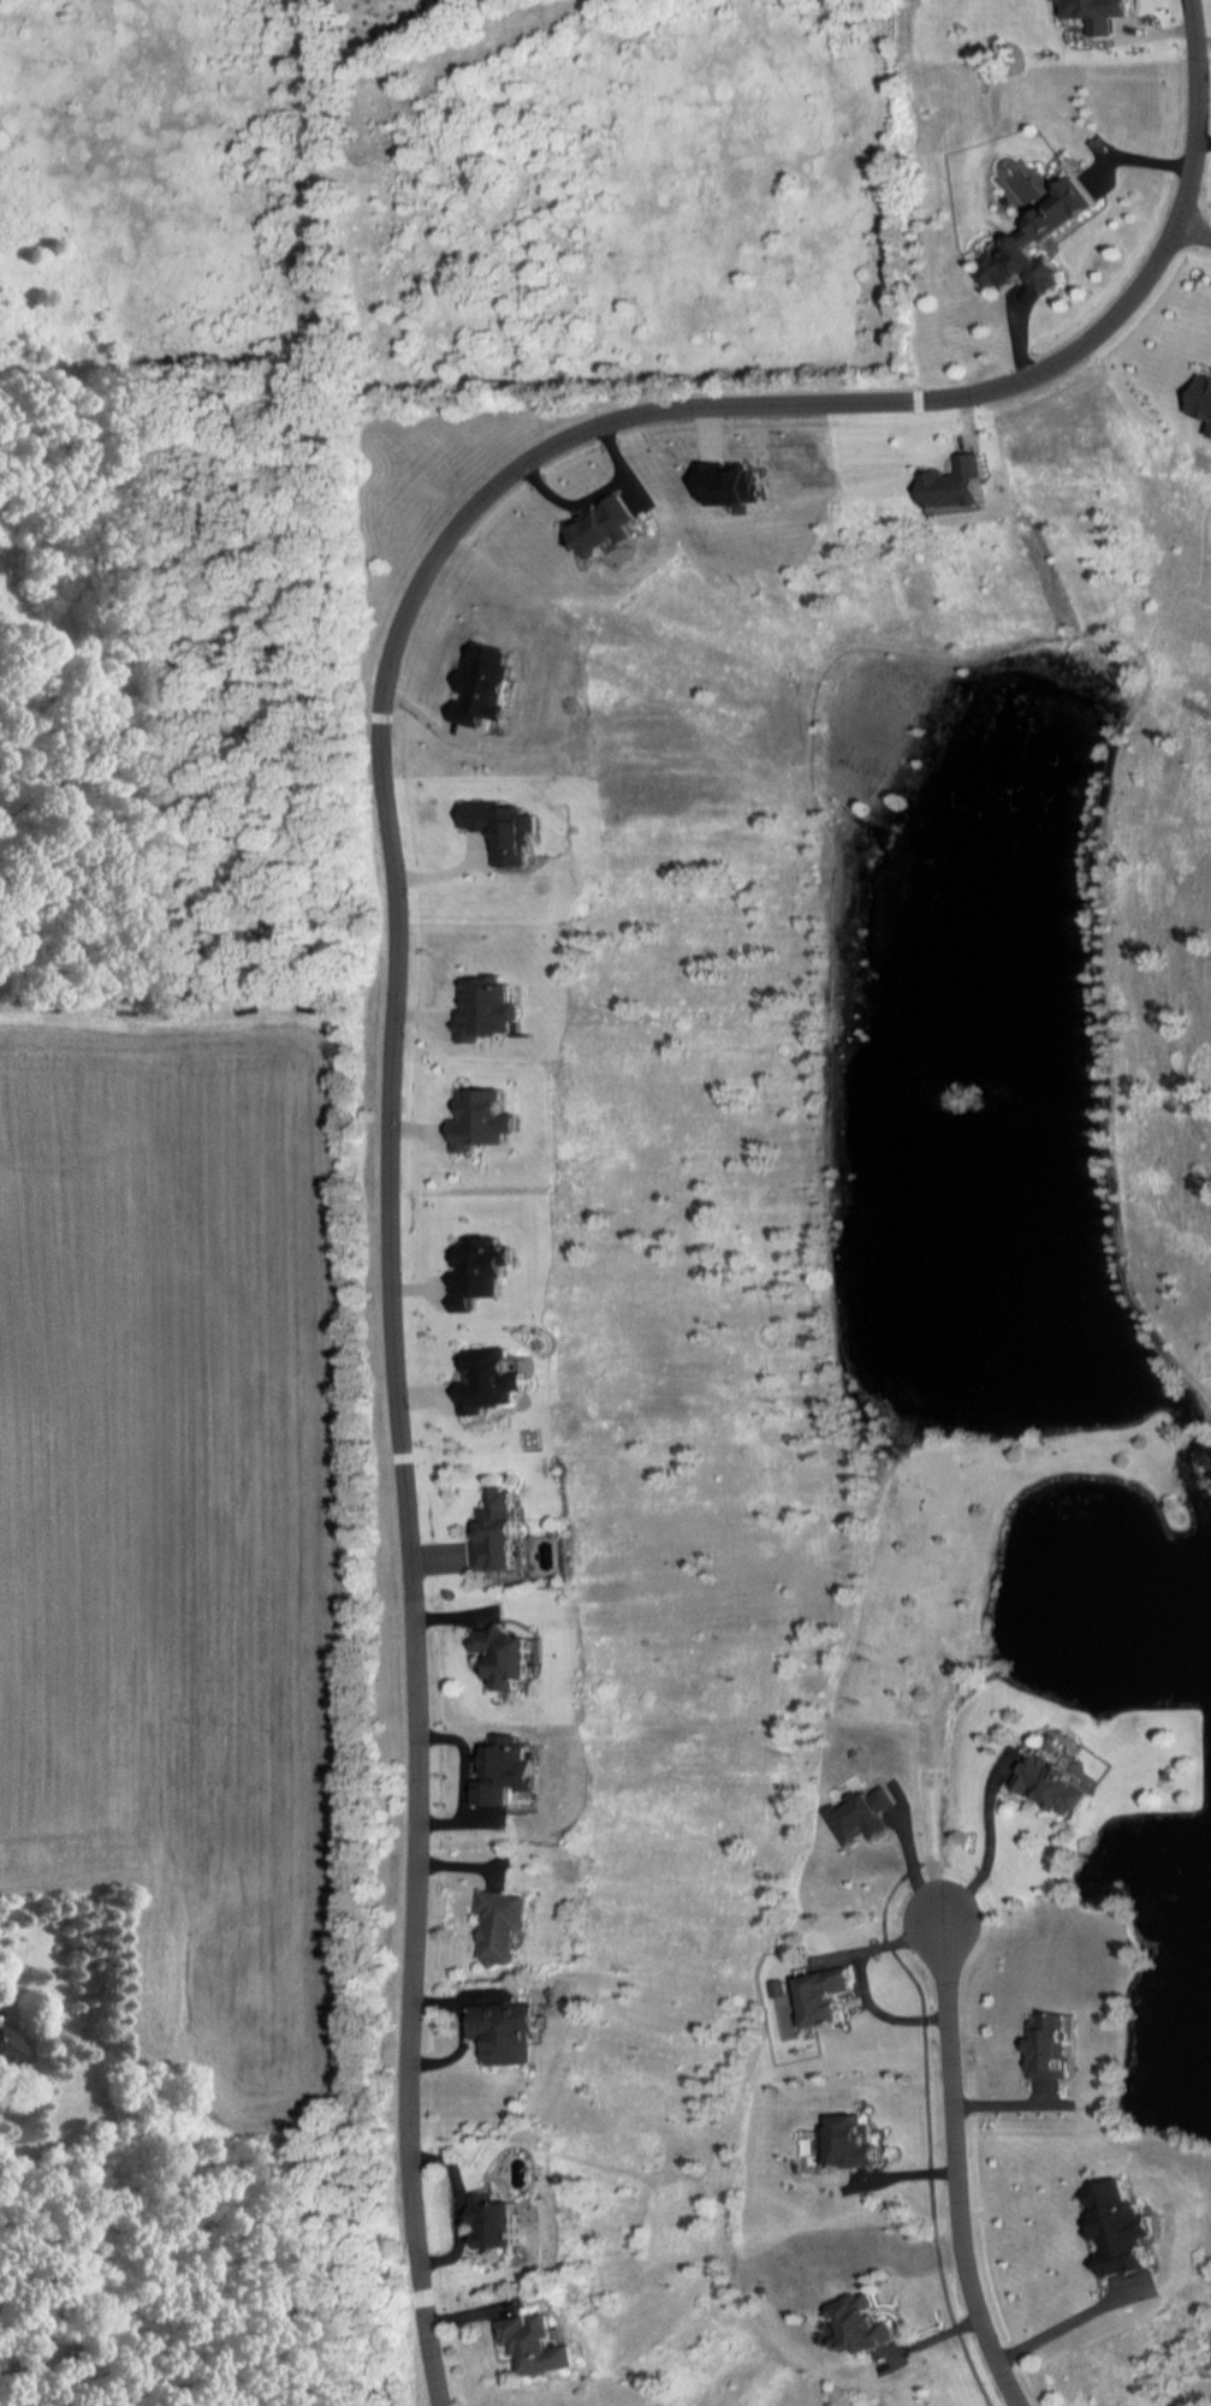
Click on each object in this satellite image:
road: (1195, 248)
building: (1020, 268)
road: (392, 927)
building: (495, 1533)
building: (503, 1656)
building: (1019, 1784)
road: (954, 1846)
road: (877, 1867)
building: (498, 1930)
road: (843, 1944)
building: (786, 1997)
road: (843, 2013)
building: (503, 2034)
road: (924, 2173)
building: (491, 2224)
building: (833, 2324)
building: (534, 2345)

